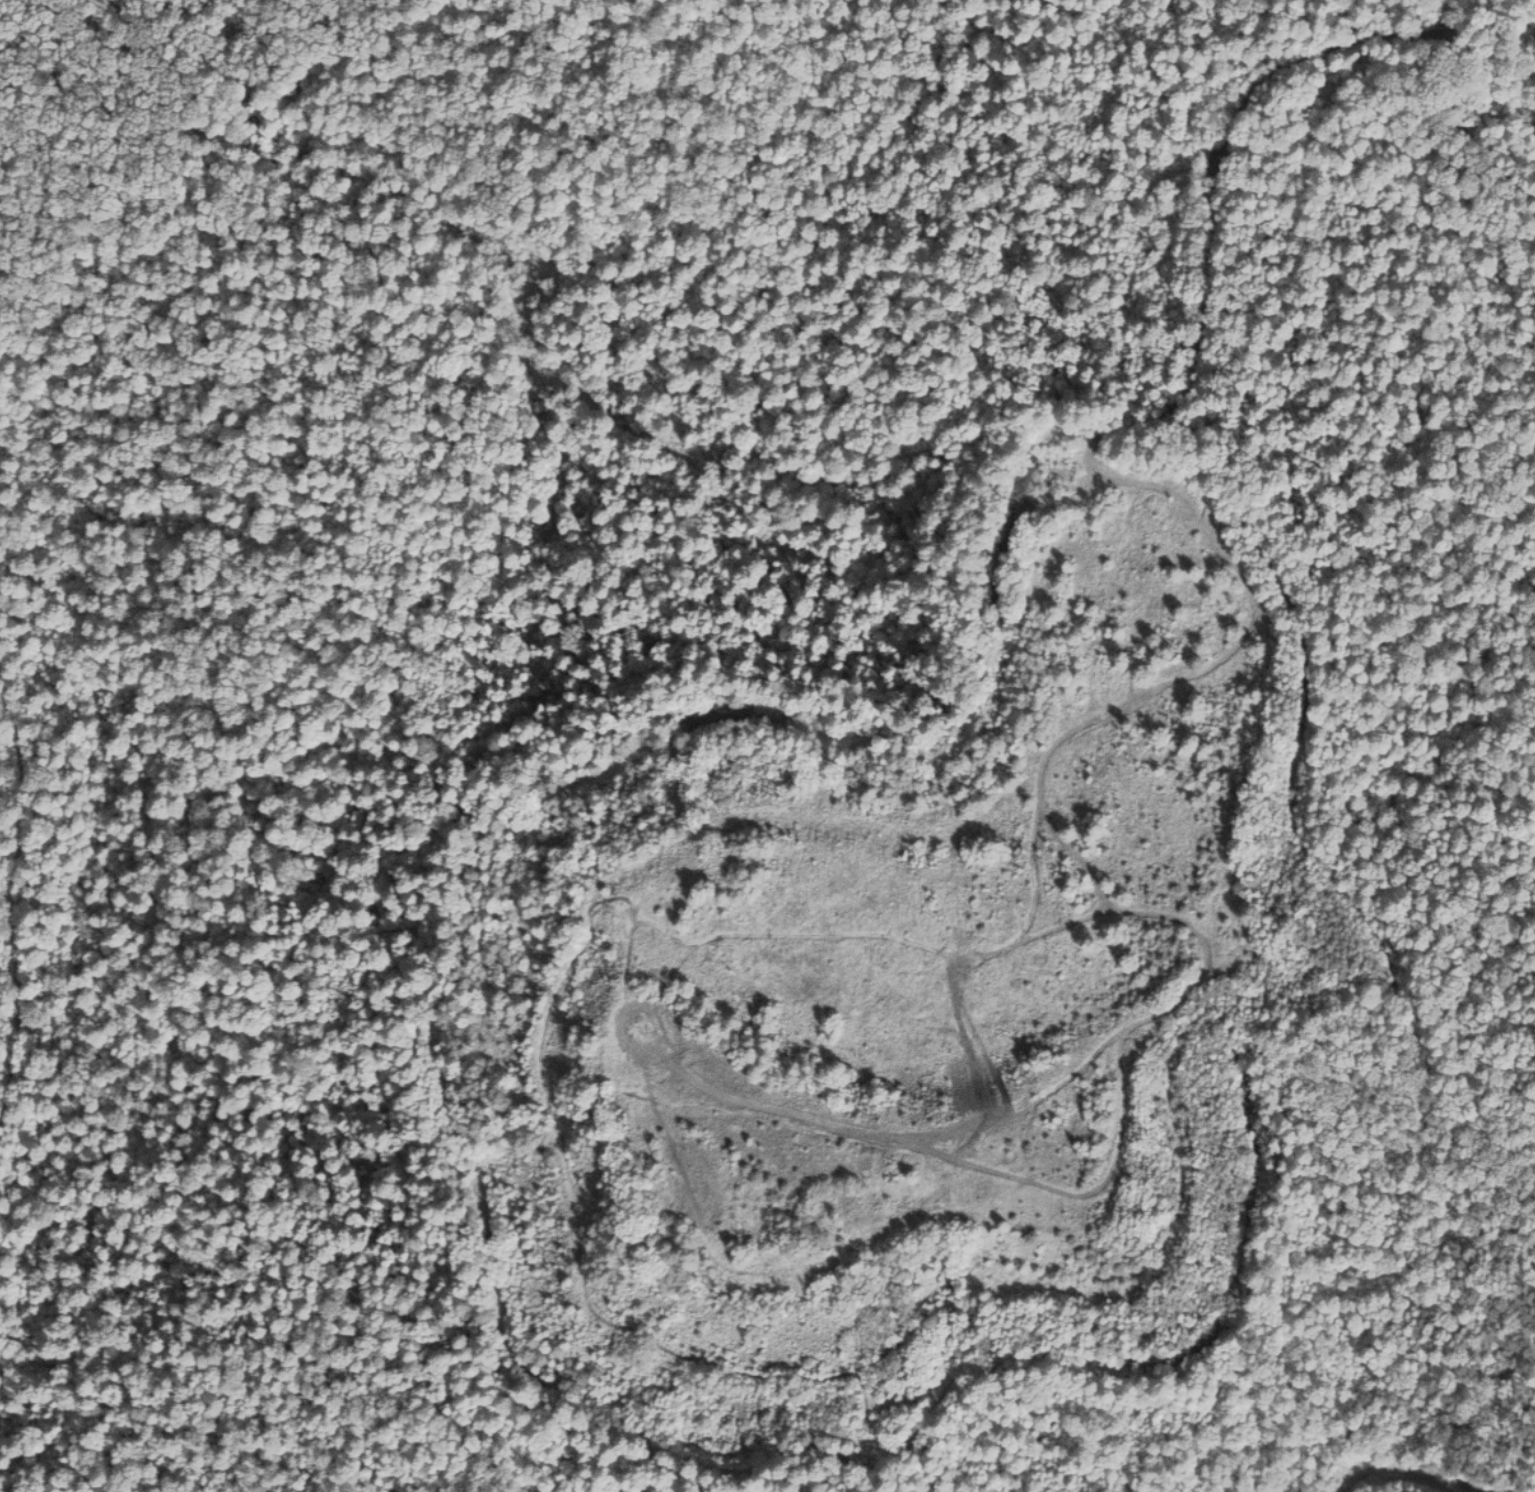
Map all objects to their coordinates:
road: (1463, 113)
road: (1210, 198)

